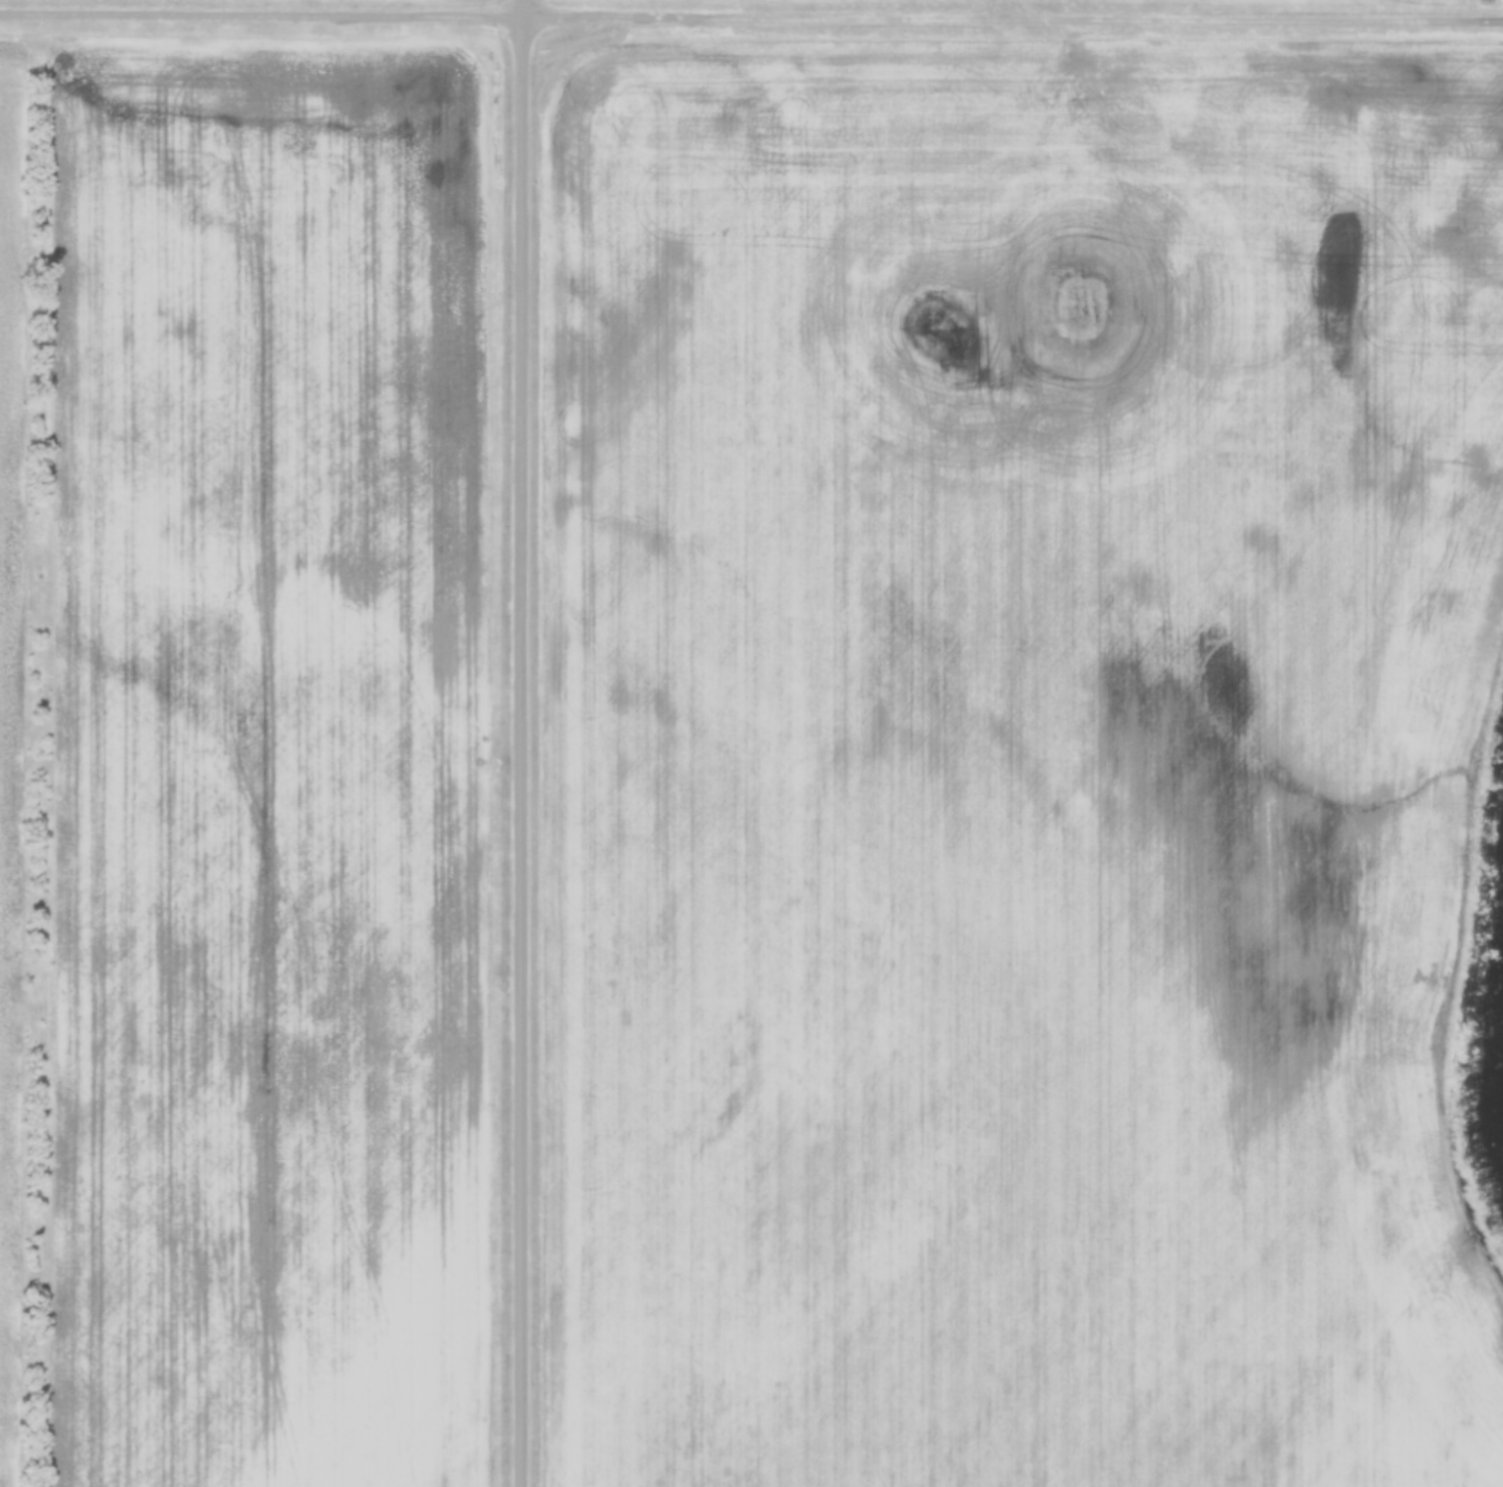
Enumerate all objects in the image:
road: (263, 18)
road: (1015, 21)
road: (527, 743)

